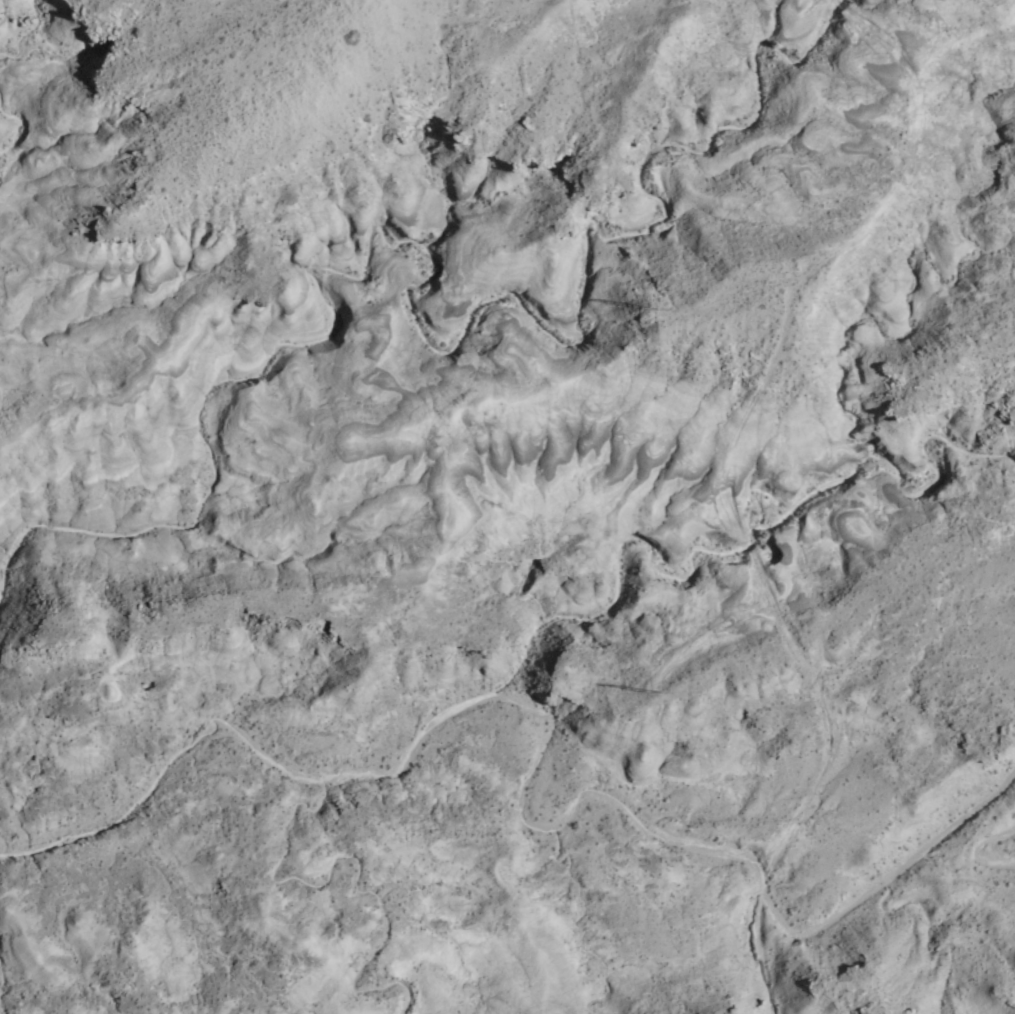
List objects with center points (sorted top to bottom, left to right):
power tower: (656, 307)
power tower: (655, 691)
river: (524, 749)

